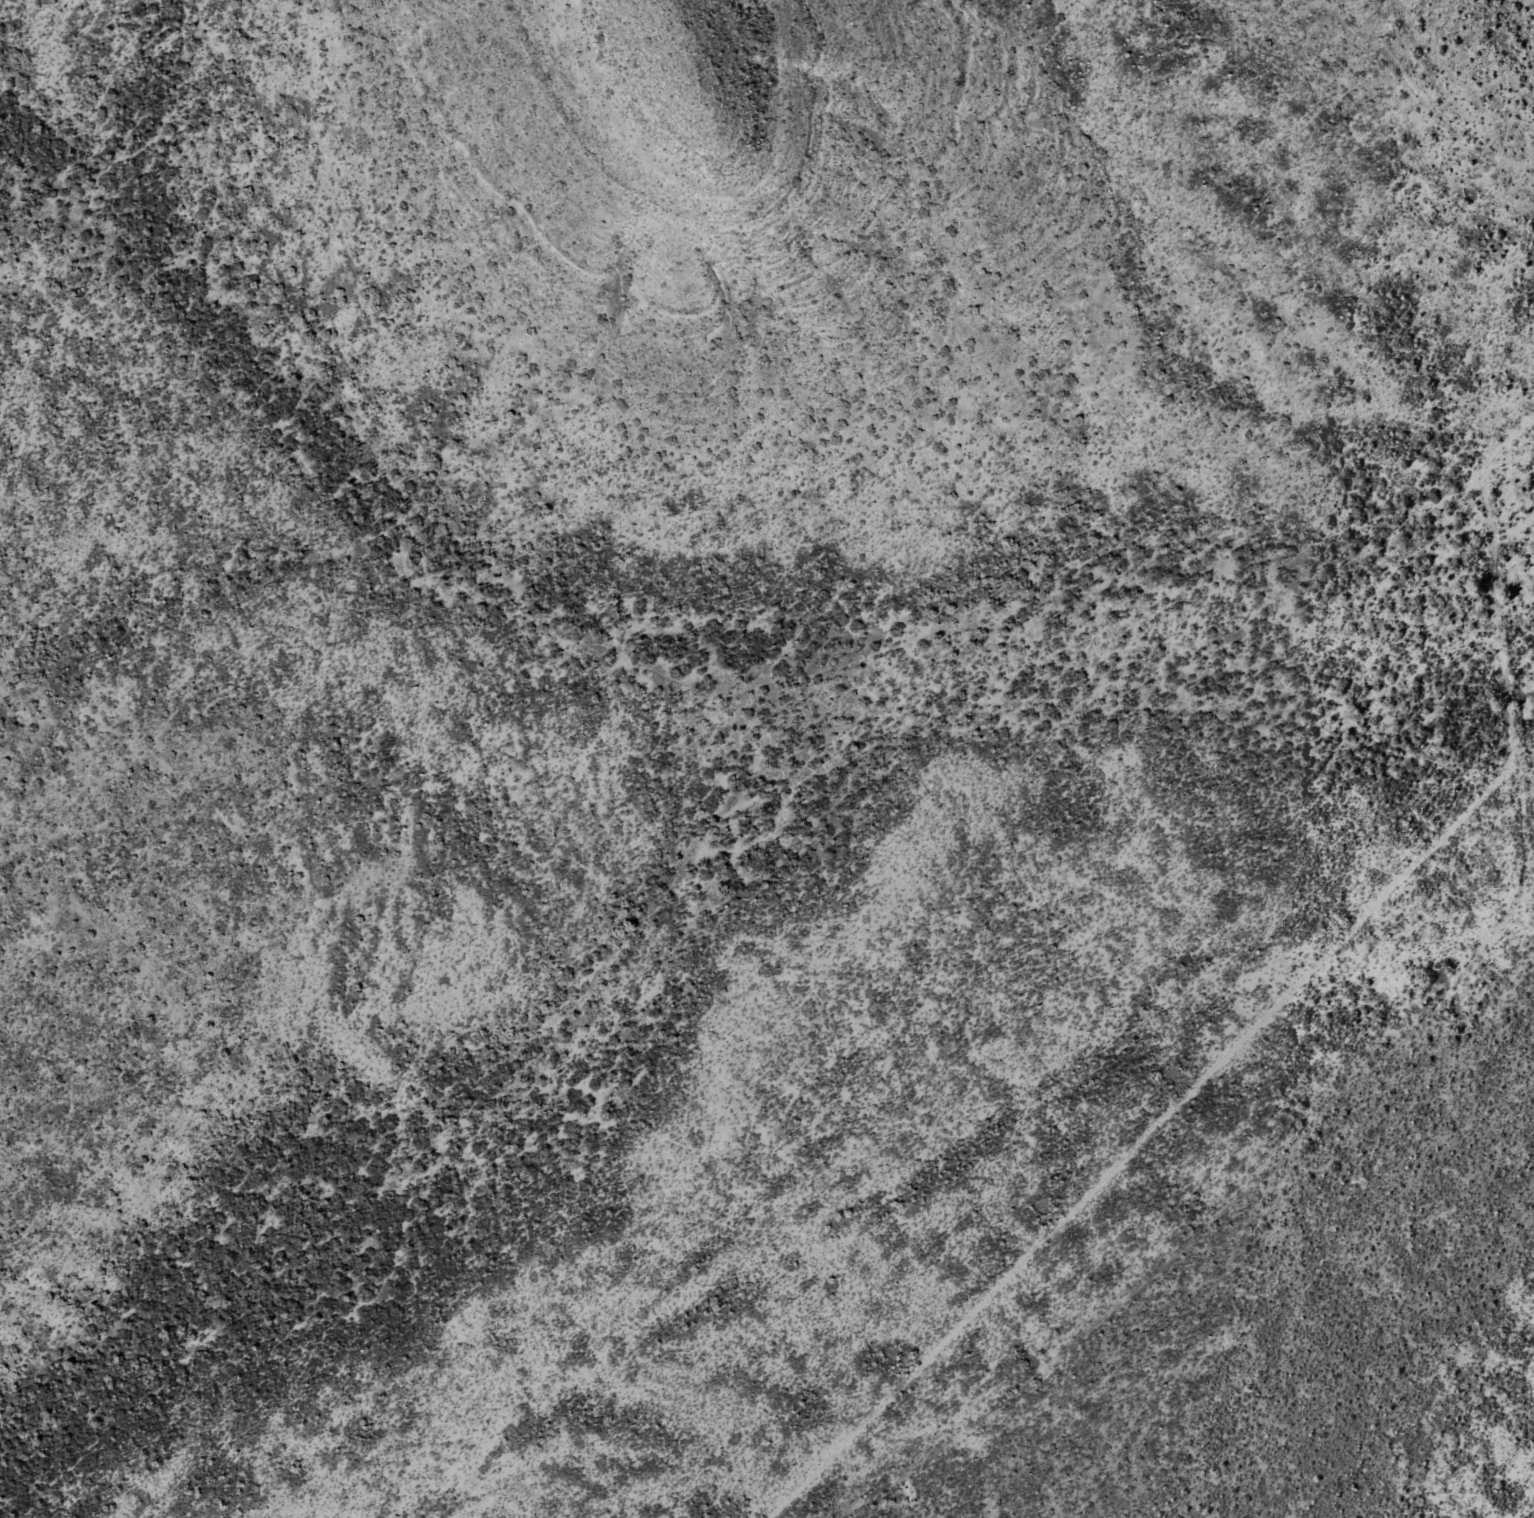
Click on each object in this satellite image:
road: (1484, 574)
road: (1216, 1232)

